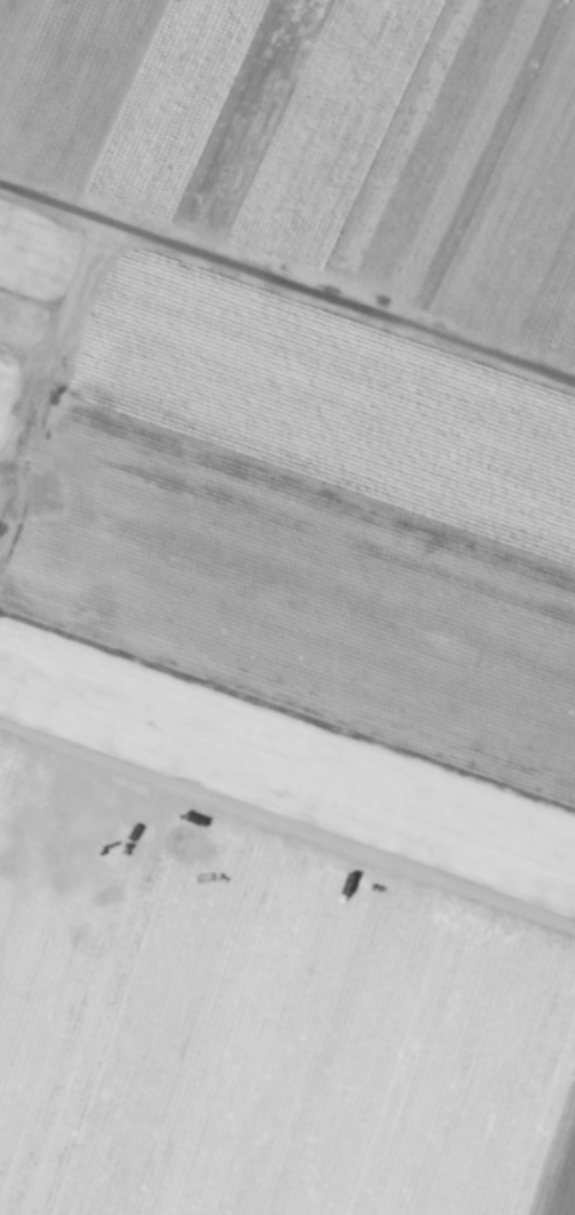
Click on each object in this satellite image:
road: (286, 283)
crop: (287, 607)
building: (43, 1110)

